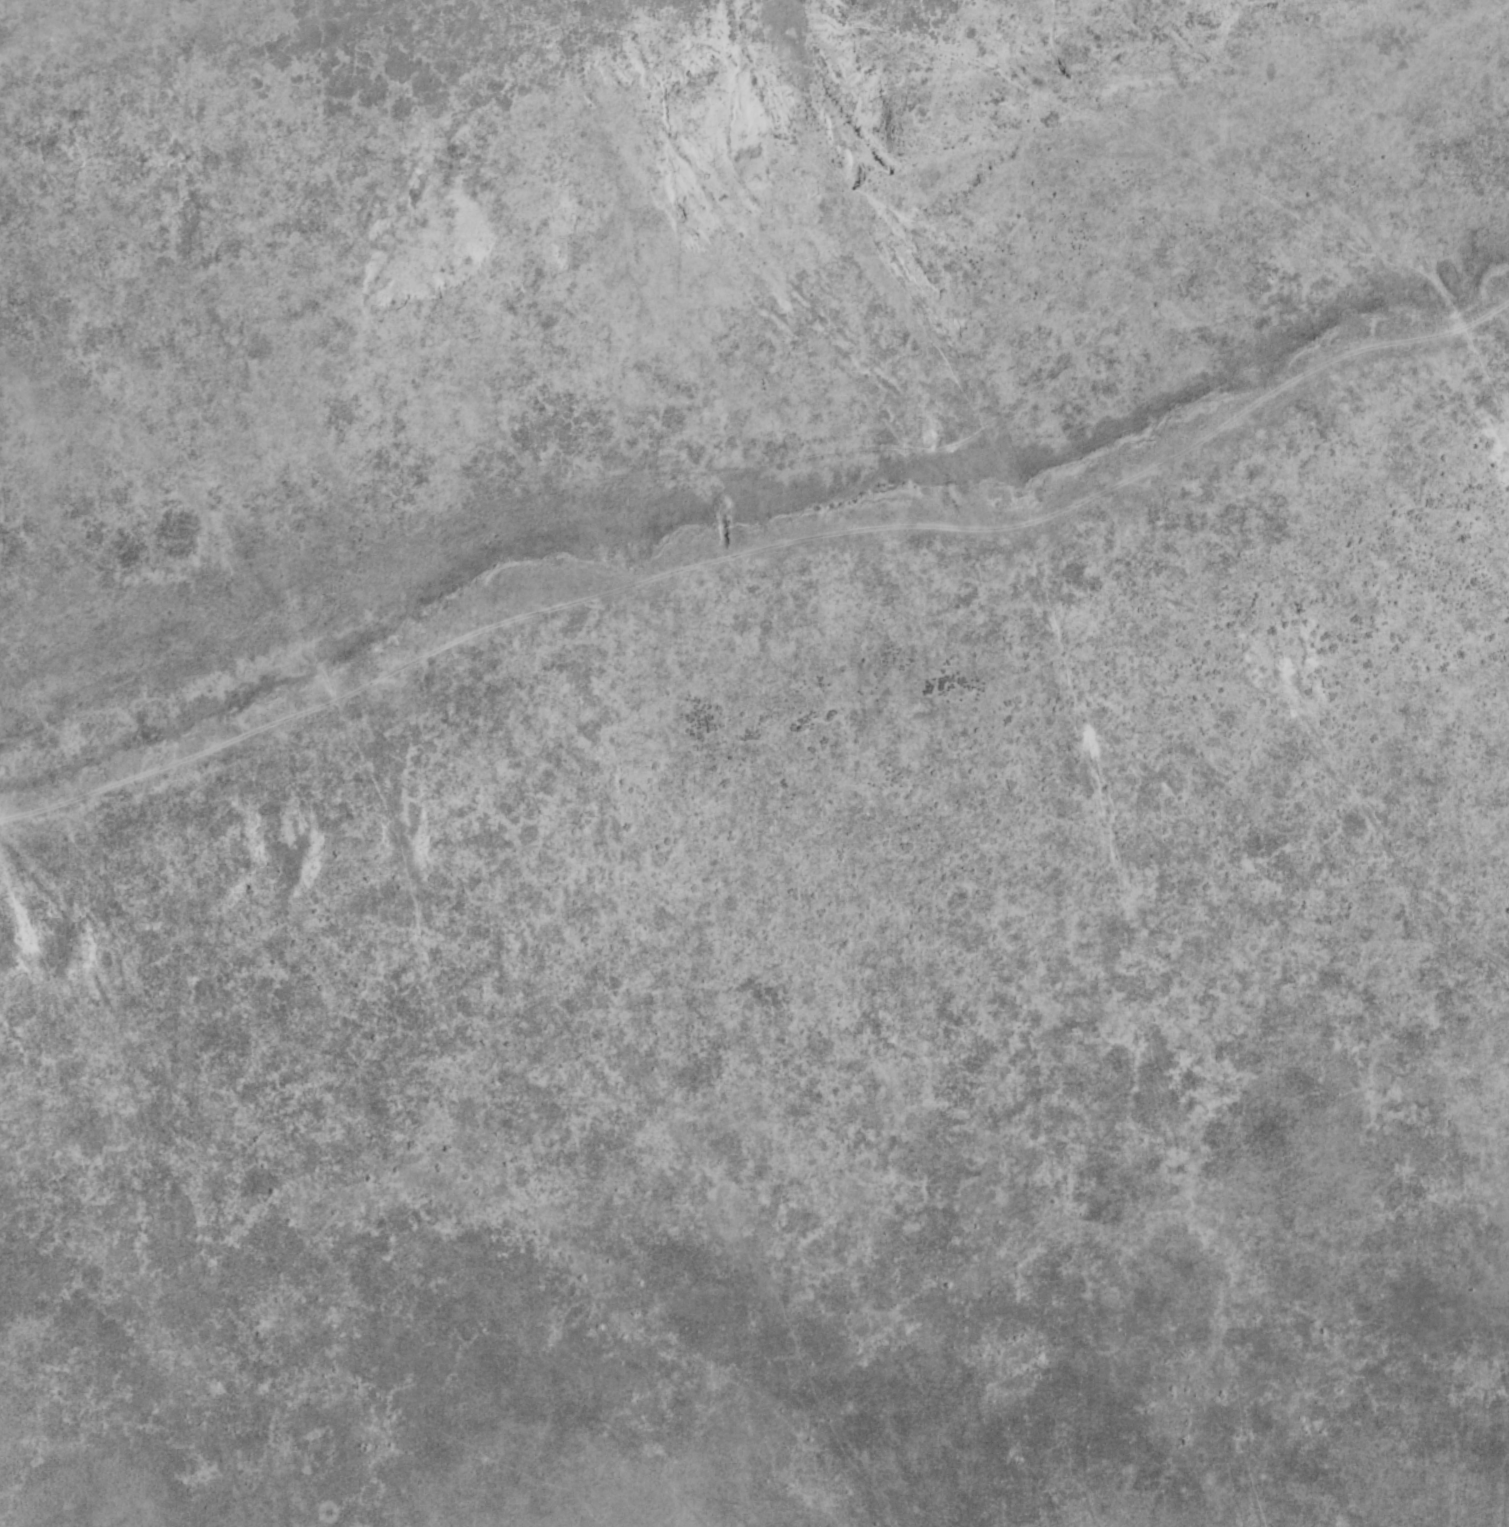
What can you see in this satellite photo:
road: (797, 433)

